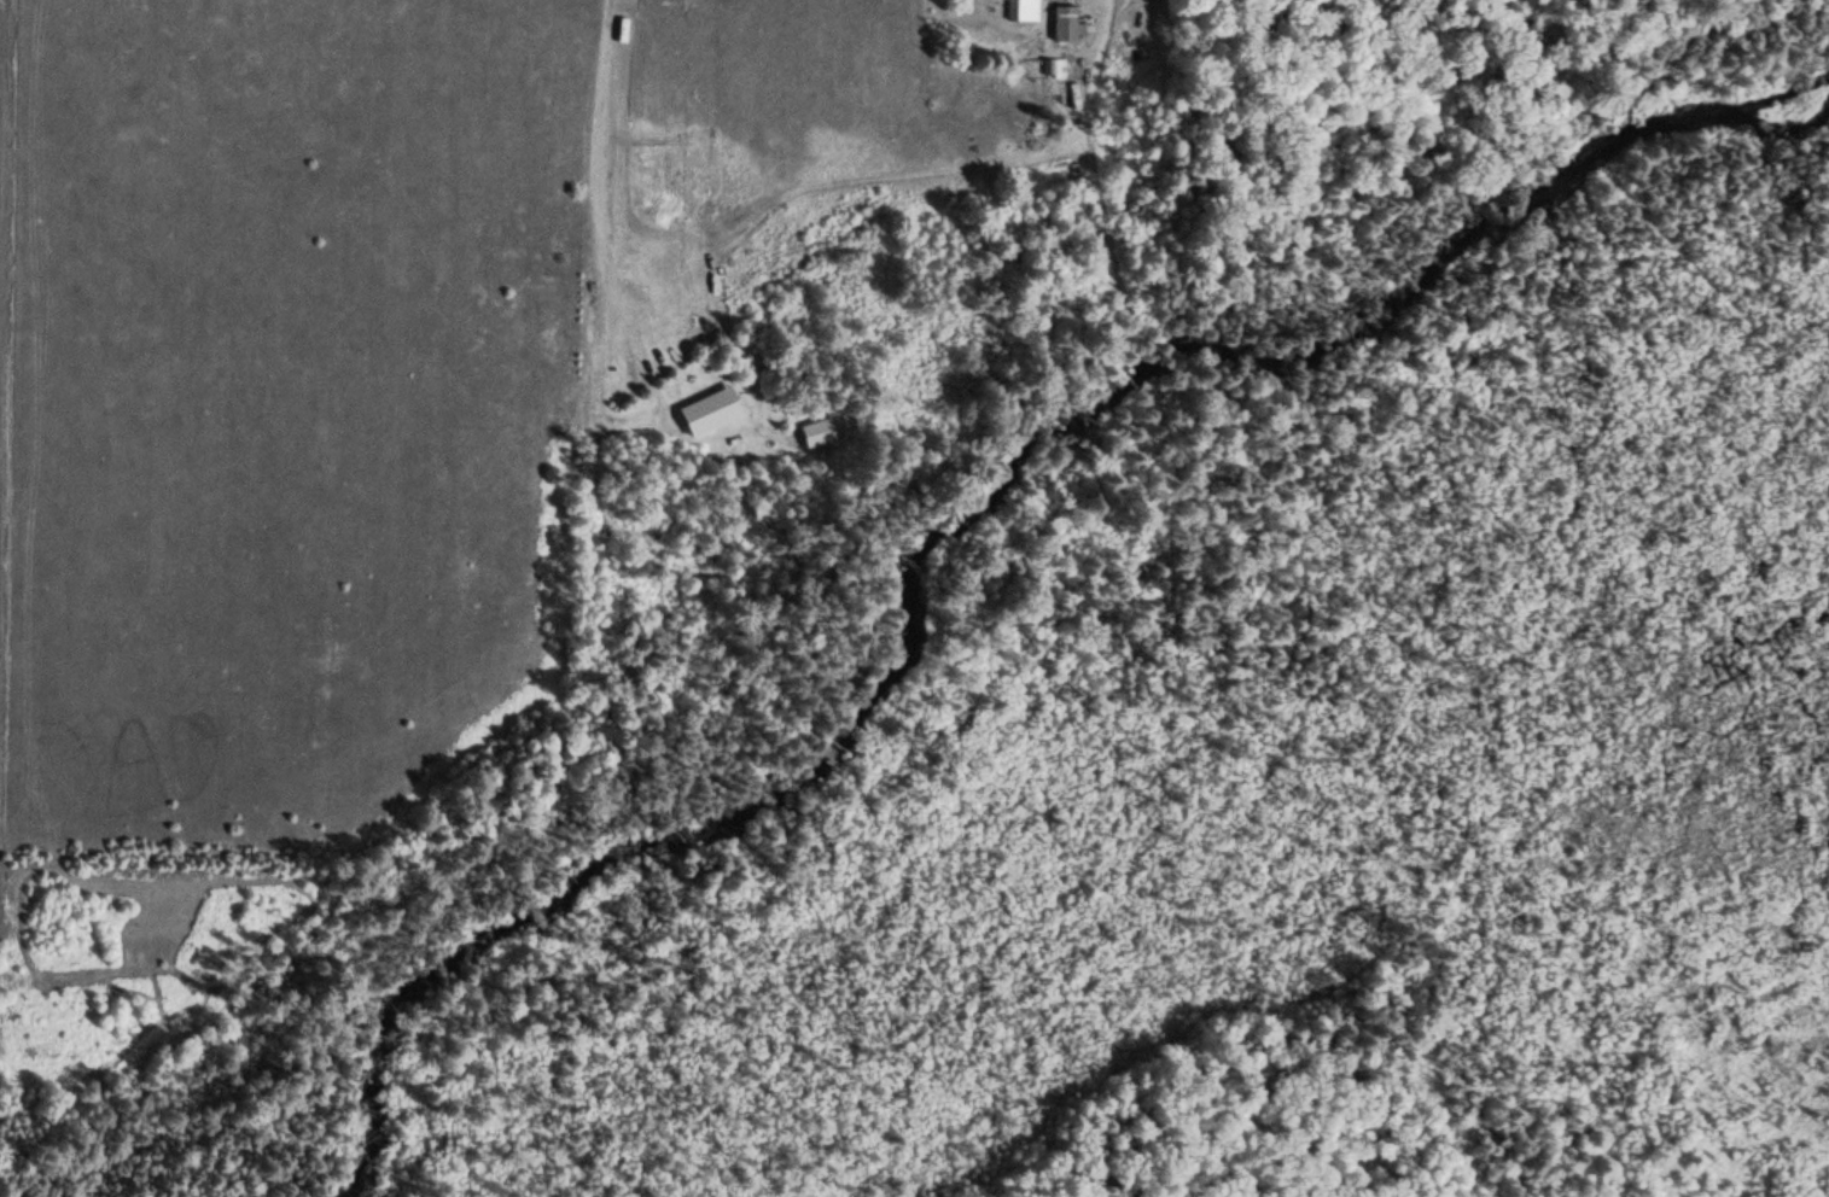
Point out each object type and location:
building: (1020, 10)
building: (1062, 22)
building: (1053, 66)
building: (710, 411)

